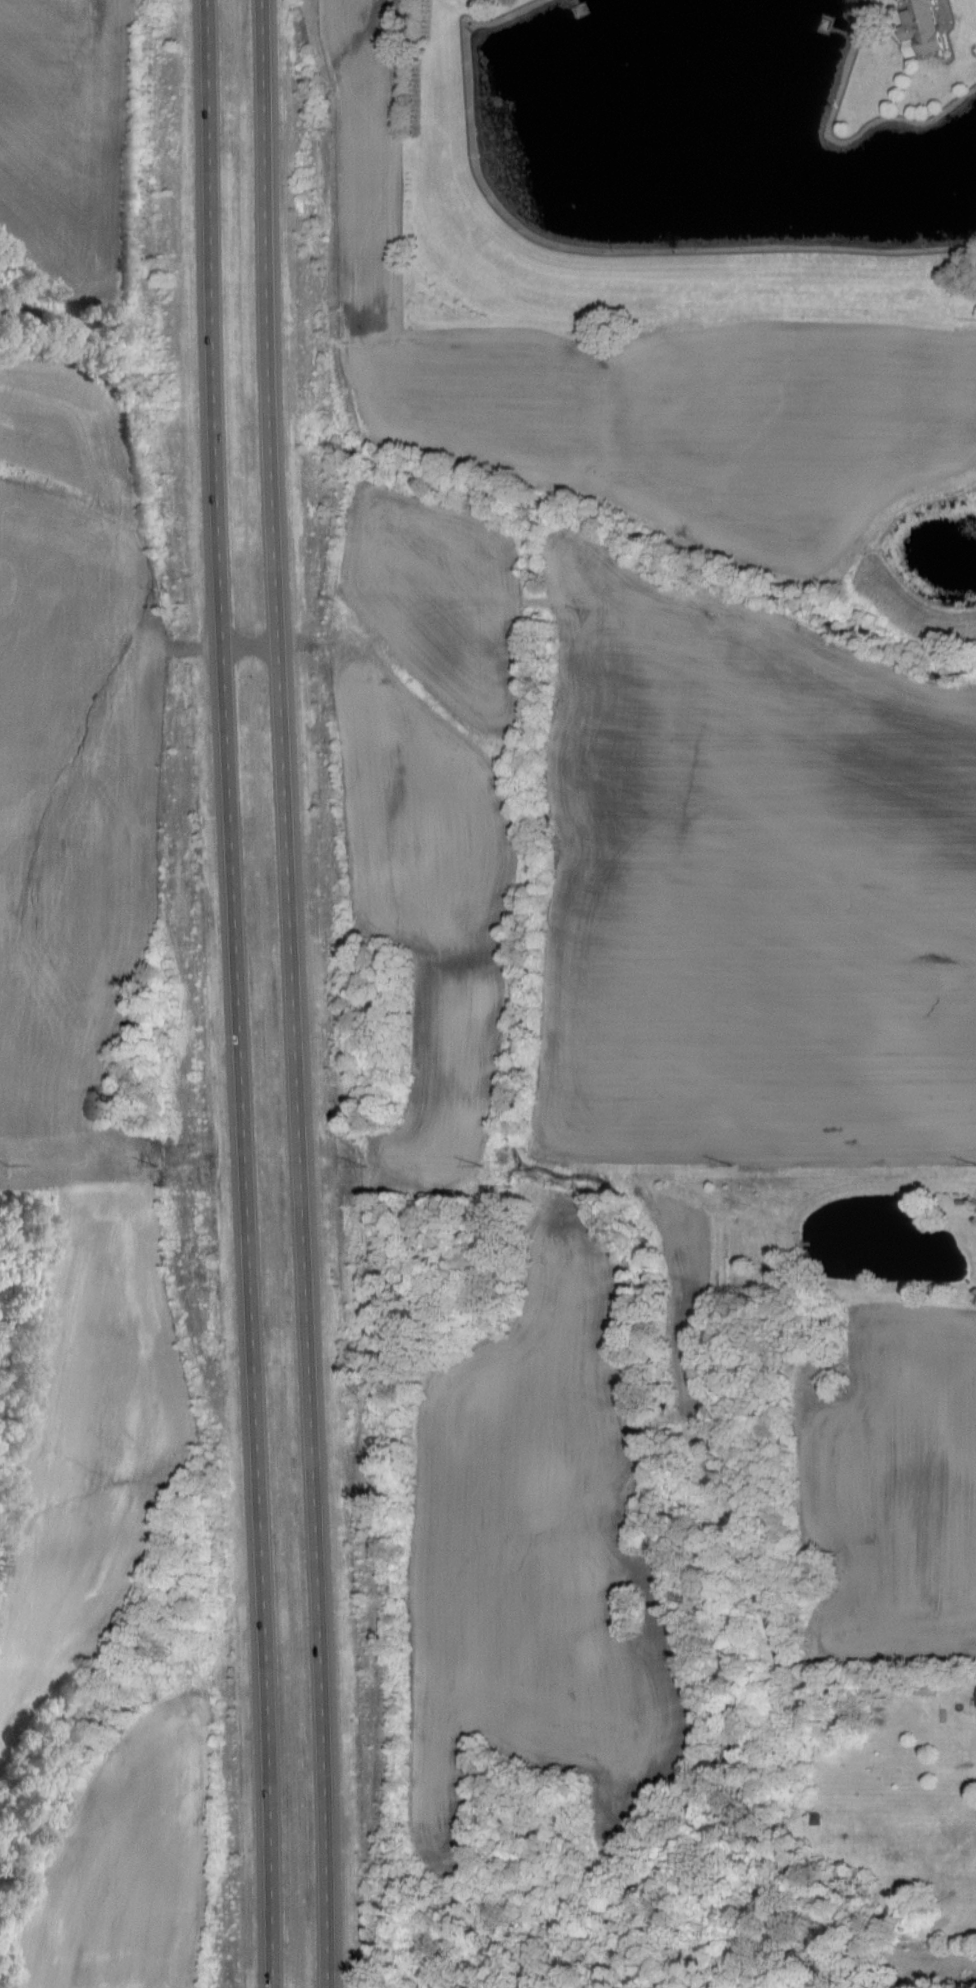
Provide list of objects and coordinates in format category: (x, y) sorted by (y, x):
building: (927, 29)
road: (295, 993)
road: (239, 994)

